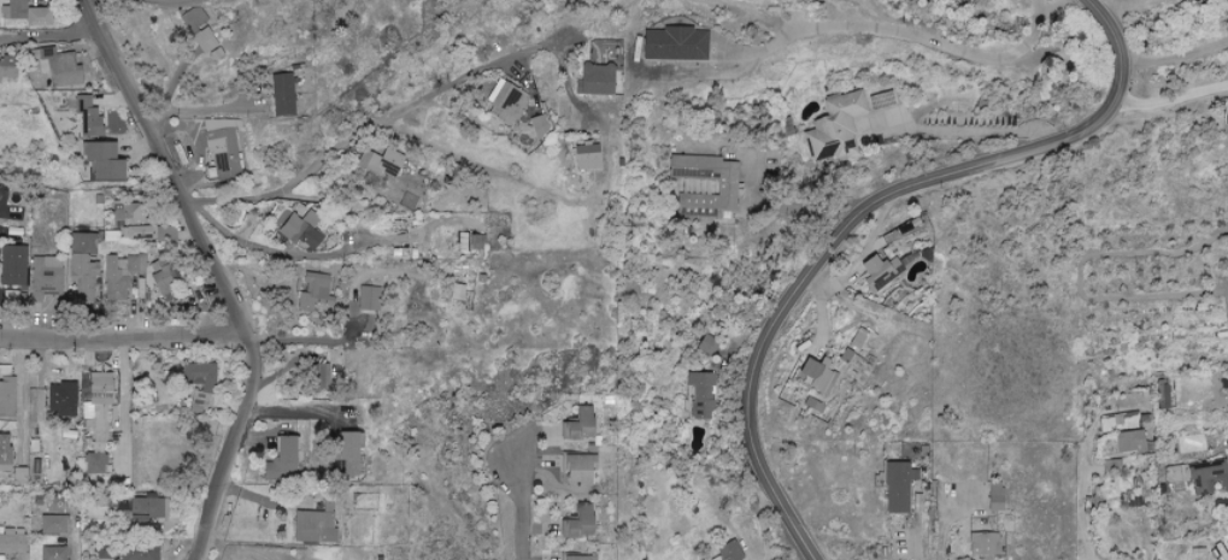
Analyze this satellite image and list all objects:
building: (24, 13)
building: (193, 18)
road: (901, 30)
road: (49, 35)
building: (206, 42)
building: (674, 45)
road: (1179, 49)
building: (59, 67)
building: (595, 79)
building: (282, 94)
road: (1173, 99)
building: (506, 105)
road: (201, 110)
building: (87, 118)
road: (371, 125)
building: (540, 125)
building: (834, 126)
road: (971, 131)
building: (223, 148)
building: (586, 158)
building: (99, 163)
building: (382, 163)
building: (729, 189)
building: (407, 201)
building: (6, 206)
road: (860, 211)
building: (129, 222)
building: (251, 230)
building: (301, 230)
building: (476, 241)
road: (862, 257)
building: (82, 265)
building: (12, 266)
building: (879, 272)
road: (218, 273)
building: (45, 277)
building: (119, 277)
building: (164, 278)
building: (313, 293)
building: (456, 293)
building: (368, 299)
road: (124, 336)
building: (857, 340)
road: (309, 342)
building: (709, 344)
building: (819, 372)
building: (199, 383)
road: (123, 385)
building: (98, 389)
building: (1163, 394)
building: (701, 395)
building: (6, 397)
road: (23, 397)
building: (60, 400)
building: (1127, 422)
building: (576, 425)
building: (1106, 425)
building: (1129, 442)
road: (123, 450)
building: (4, 454)
building: (347, 456)
building: (283, 458)
building: (93, 465)
building: (1111, 466)
building: (577, 468)
building: (1200, 477)
building: (1133, 485)
building: (898, 488)
building: (994, 496)
road: (1080, 505)
building: (147, 507)
road: (522, 513)
road: (938, 519)
building: (136, 524)
building: (575, 524)
building: (52, 525)
building: (12, 542)
road: (910, 543)
building: (981, 544)
road: (74, 547)
building: (136, 550)
building: (729, 552)
building: (48, 553)
building: (578, 558)

